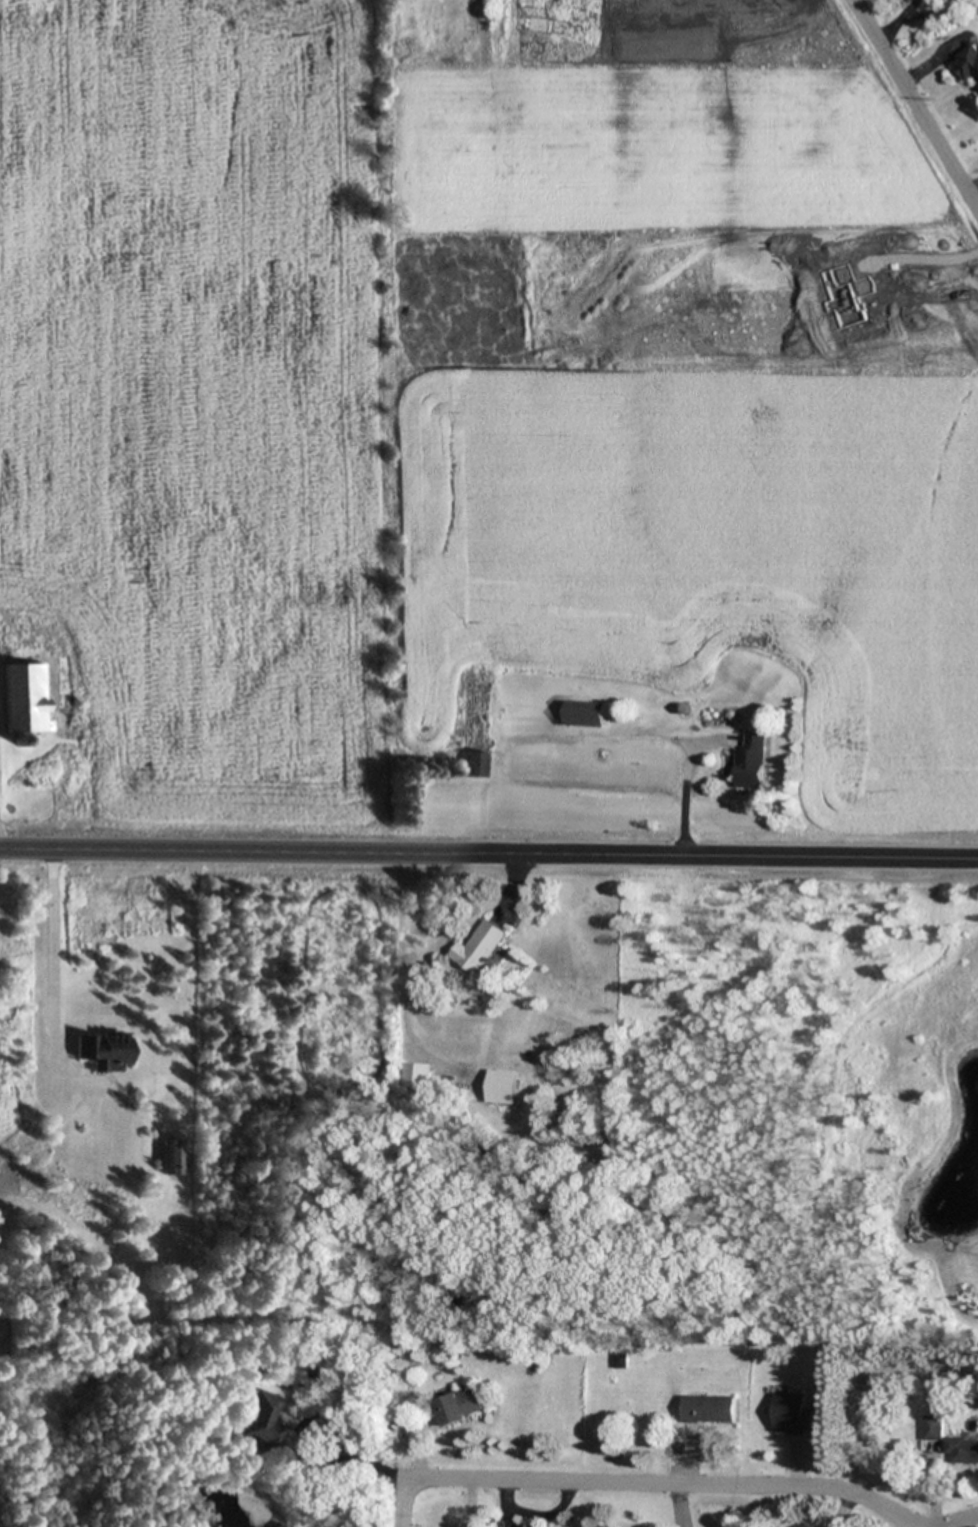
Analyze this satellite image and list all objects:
road: (908, 8)
road: (930, 12)
road: (888, 29)
building: (967, 66)
road: (914, 106)
building: (27, 698)
building: (587, 713)
building: (753, 762)
building: (473, 764)
road: (489, 852)
building: (181, 912)
building: (481, 948)
road: (53, 995)
building: (105, 1050)
building: (416, 1075)
building: (501, 1087)
building: (173, 1156)
building: (459, 1406)
building: (709, 1409)
building: (263, 1420)
building: (933, 1428)
building: (962, 1449)
road: (661, 1485)
road: (402, 1503)
road: (961, 1521)
building: (529, 1526)

